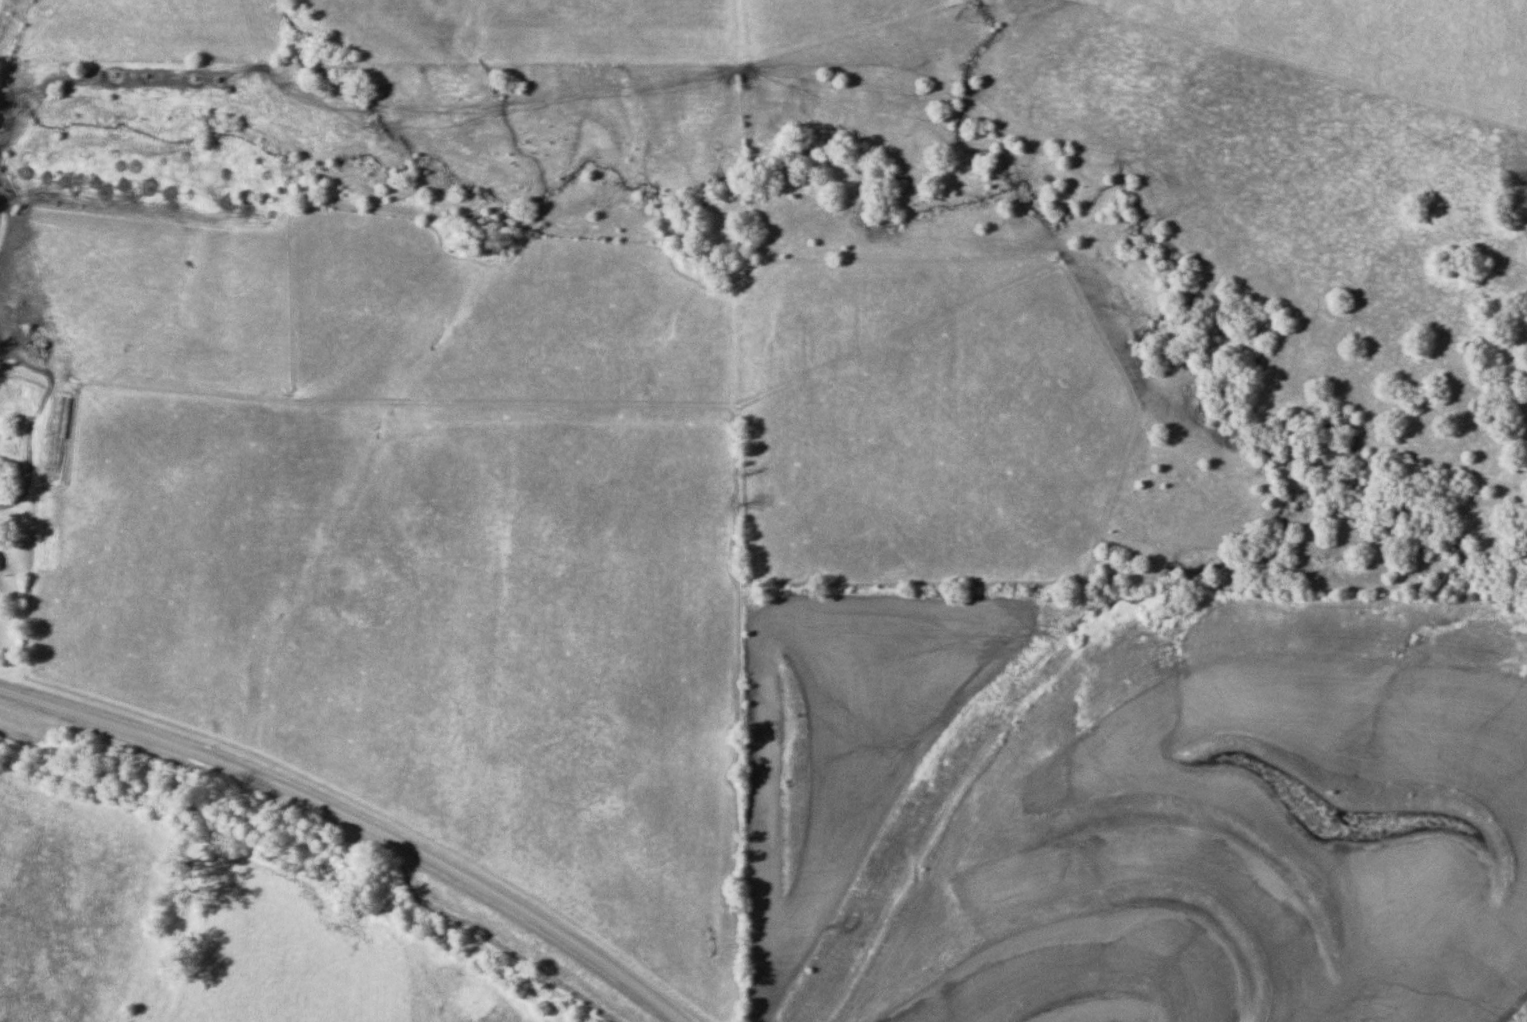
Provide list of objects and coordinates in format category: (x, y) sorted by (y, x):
road: (354, 823)

